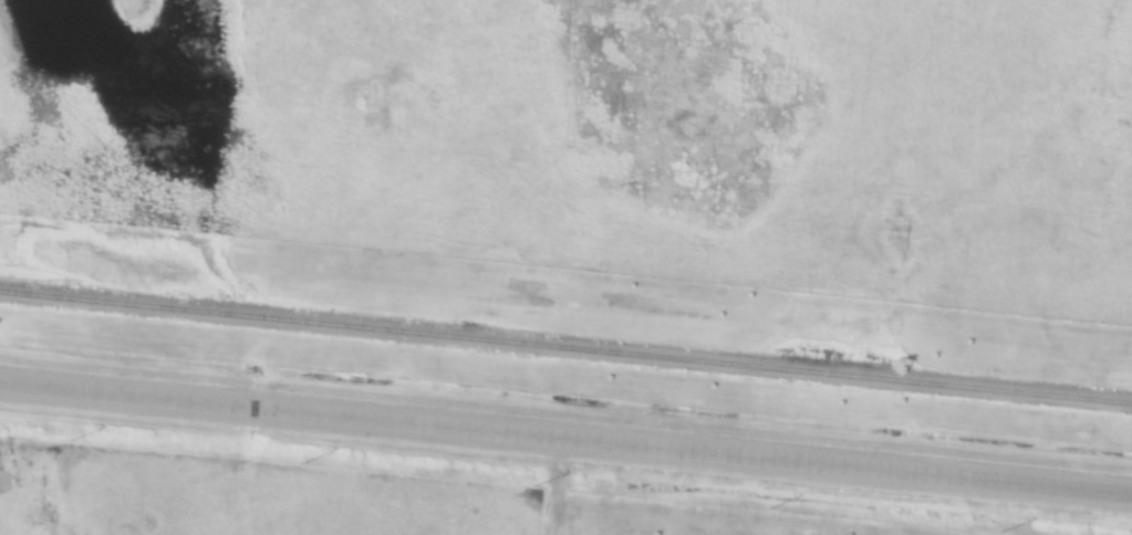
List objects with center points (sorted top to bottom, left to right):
railway: (565, 347)
road: (565, 437)

